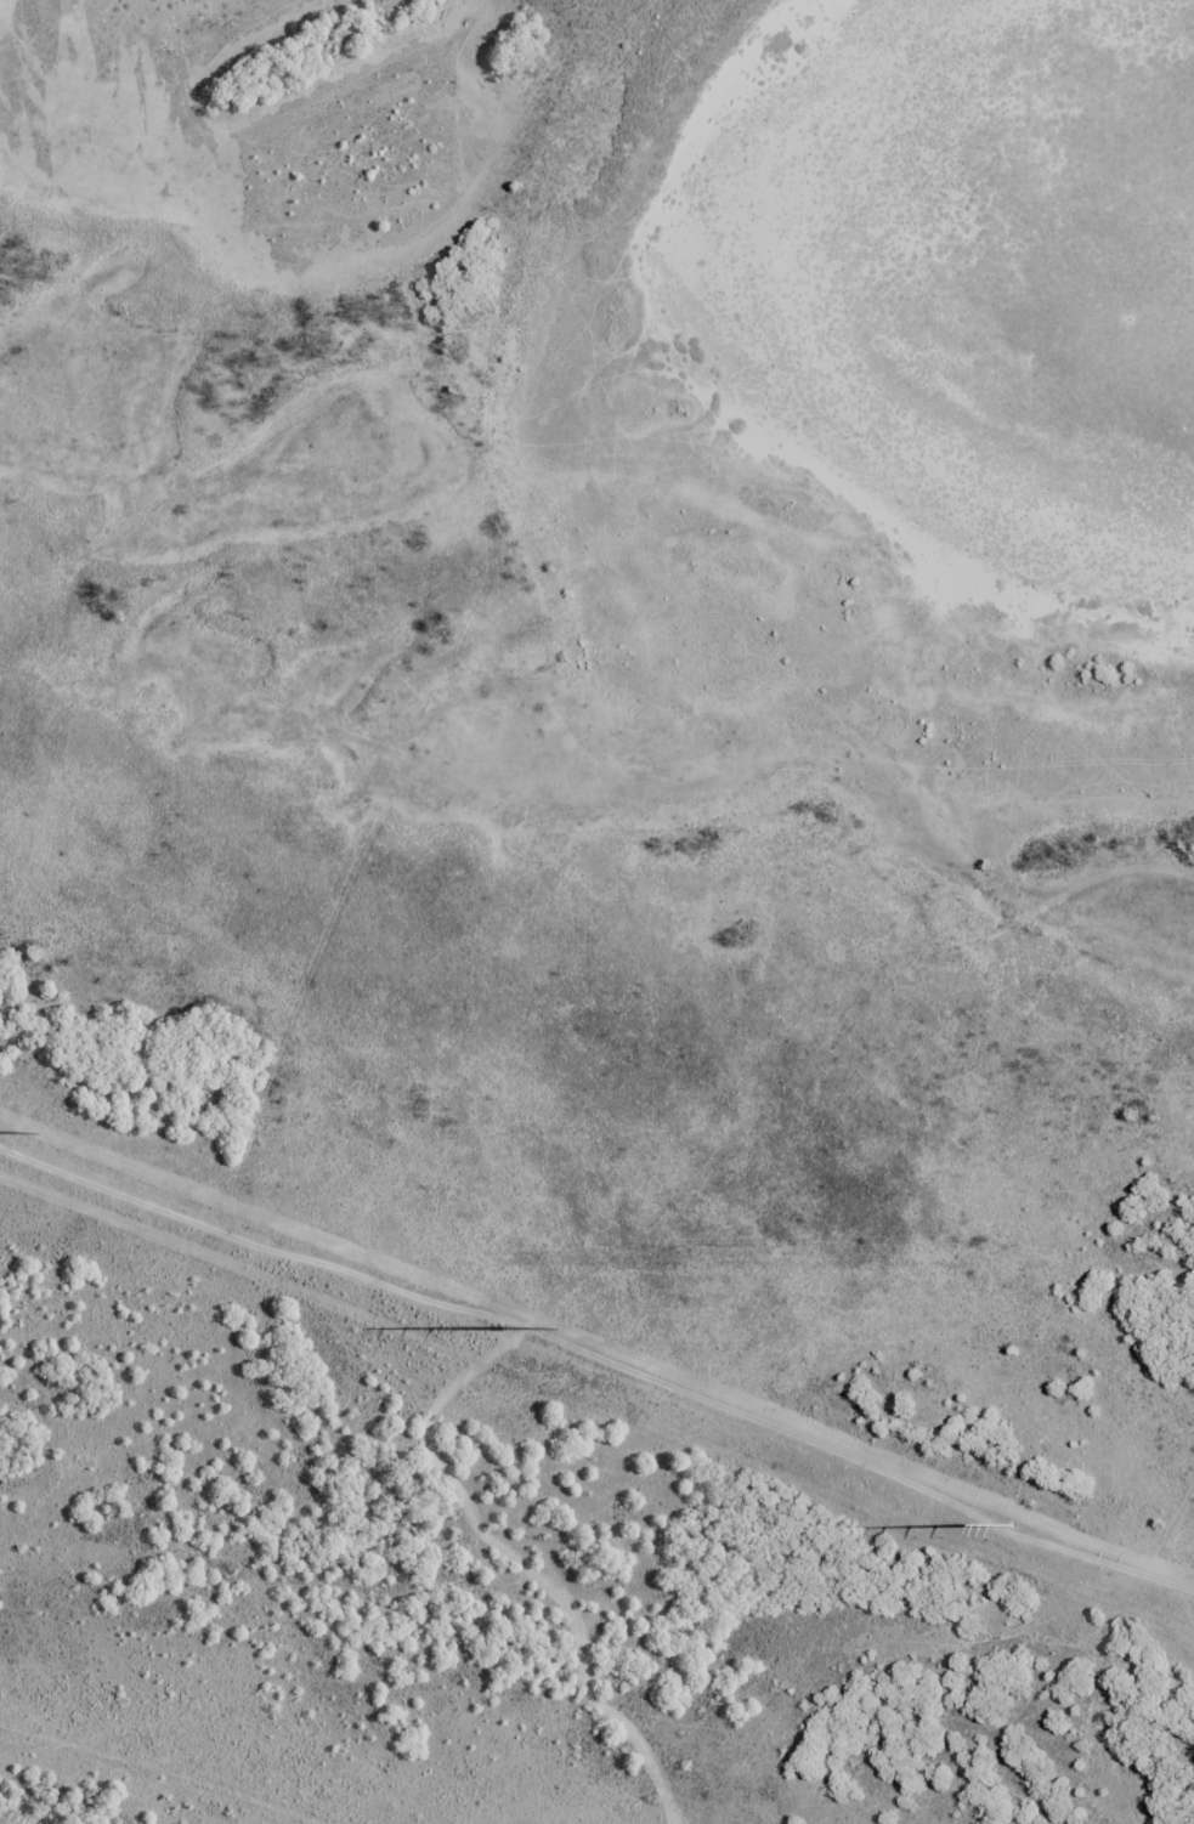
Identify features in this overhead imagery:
power tower: (516, 1333)
power tower: (1018, 1530)
road: (312, 1694)

